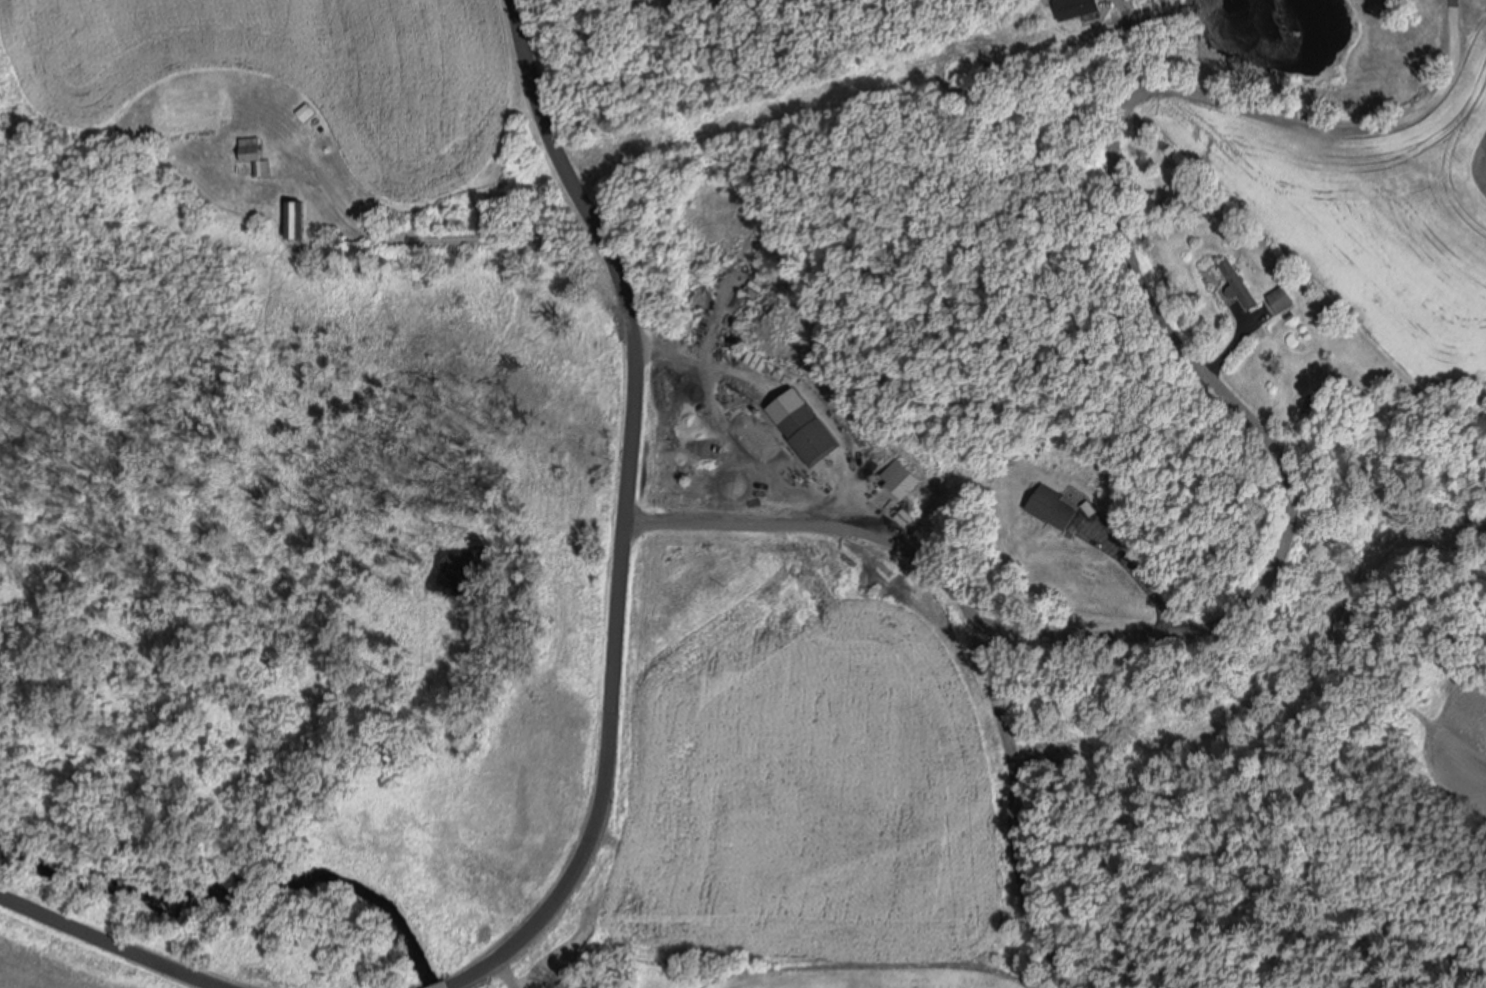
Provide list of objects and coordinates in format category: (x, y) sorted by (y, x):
building: (1079, 7)
building: (255, 154)
building: (293, 218)
road: (462, 238)
building: (1237, 282)
road: (1160, 293)
building: (1280, 297)
building: (804, 425)
building: (902, 481)
building: (1052, 505)
road: (814, 519)
road: (622, 520)
road: (1135, 566)
road: (1015, 805)
road: (114, 940)

